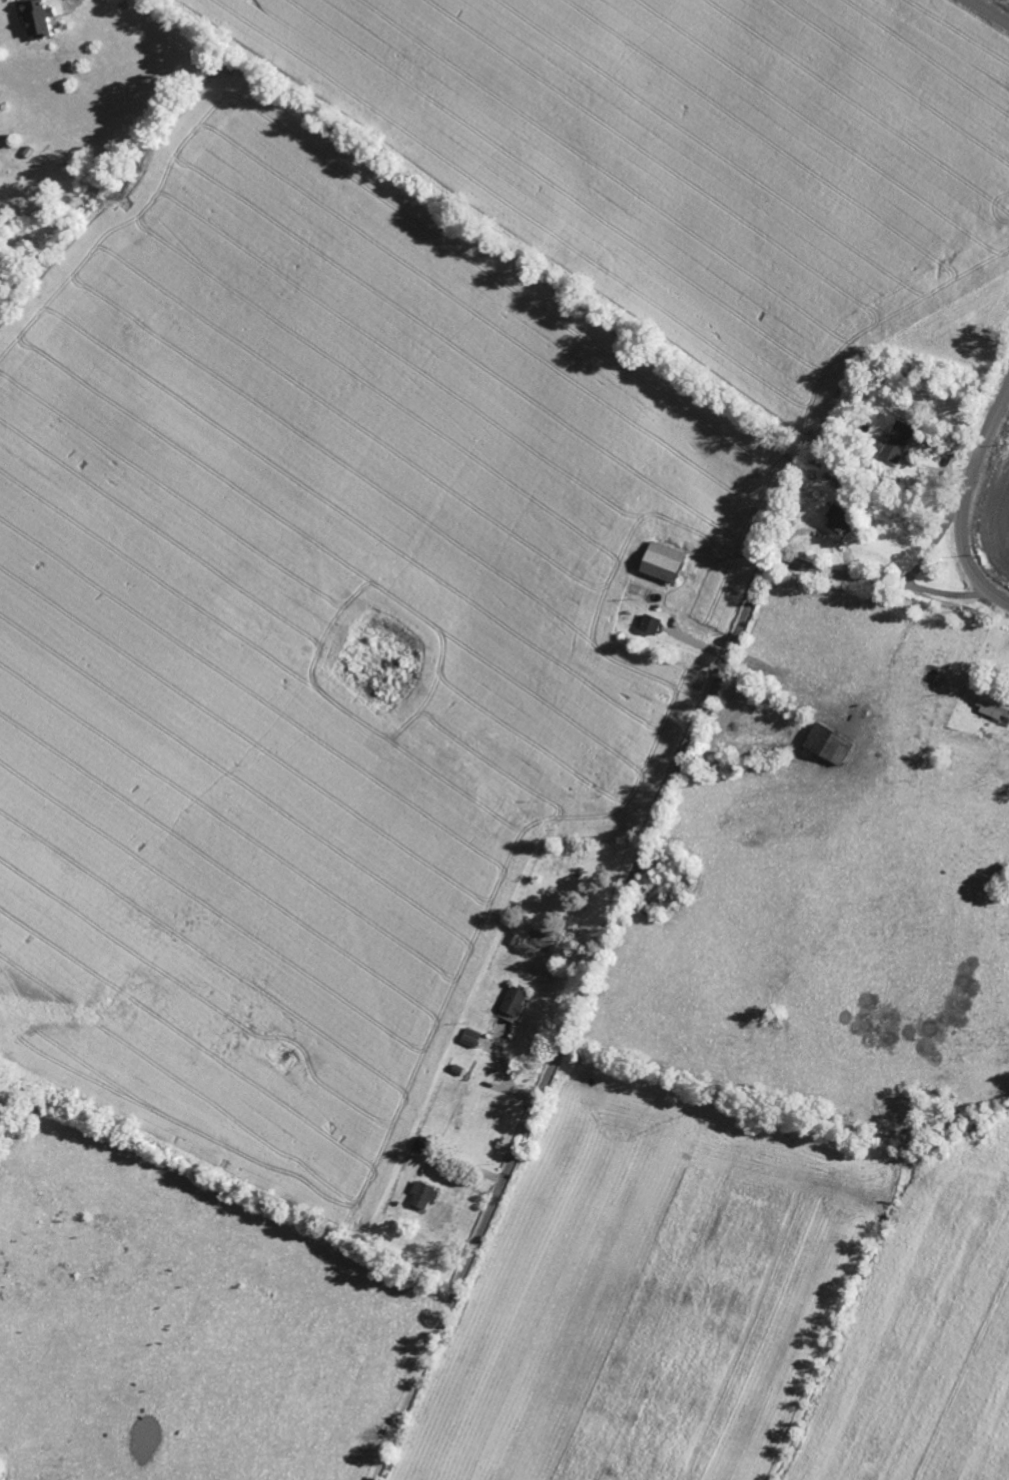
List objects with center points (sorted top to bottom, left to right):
road: (987, 13)
building: (37, 20)
building: (899, 442)
road: (963, 499)
building: (842, 521)
road: (930, 548)
building: (666, 563)
building: (652, 626)
building: (994, 707)
building: (831, 745)
road: (617, 916)
building: (516, 1002)
building: (472, 1038)
building: (426, 1196)

